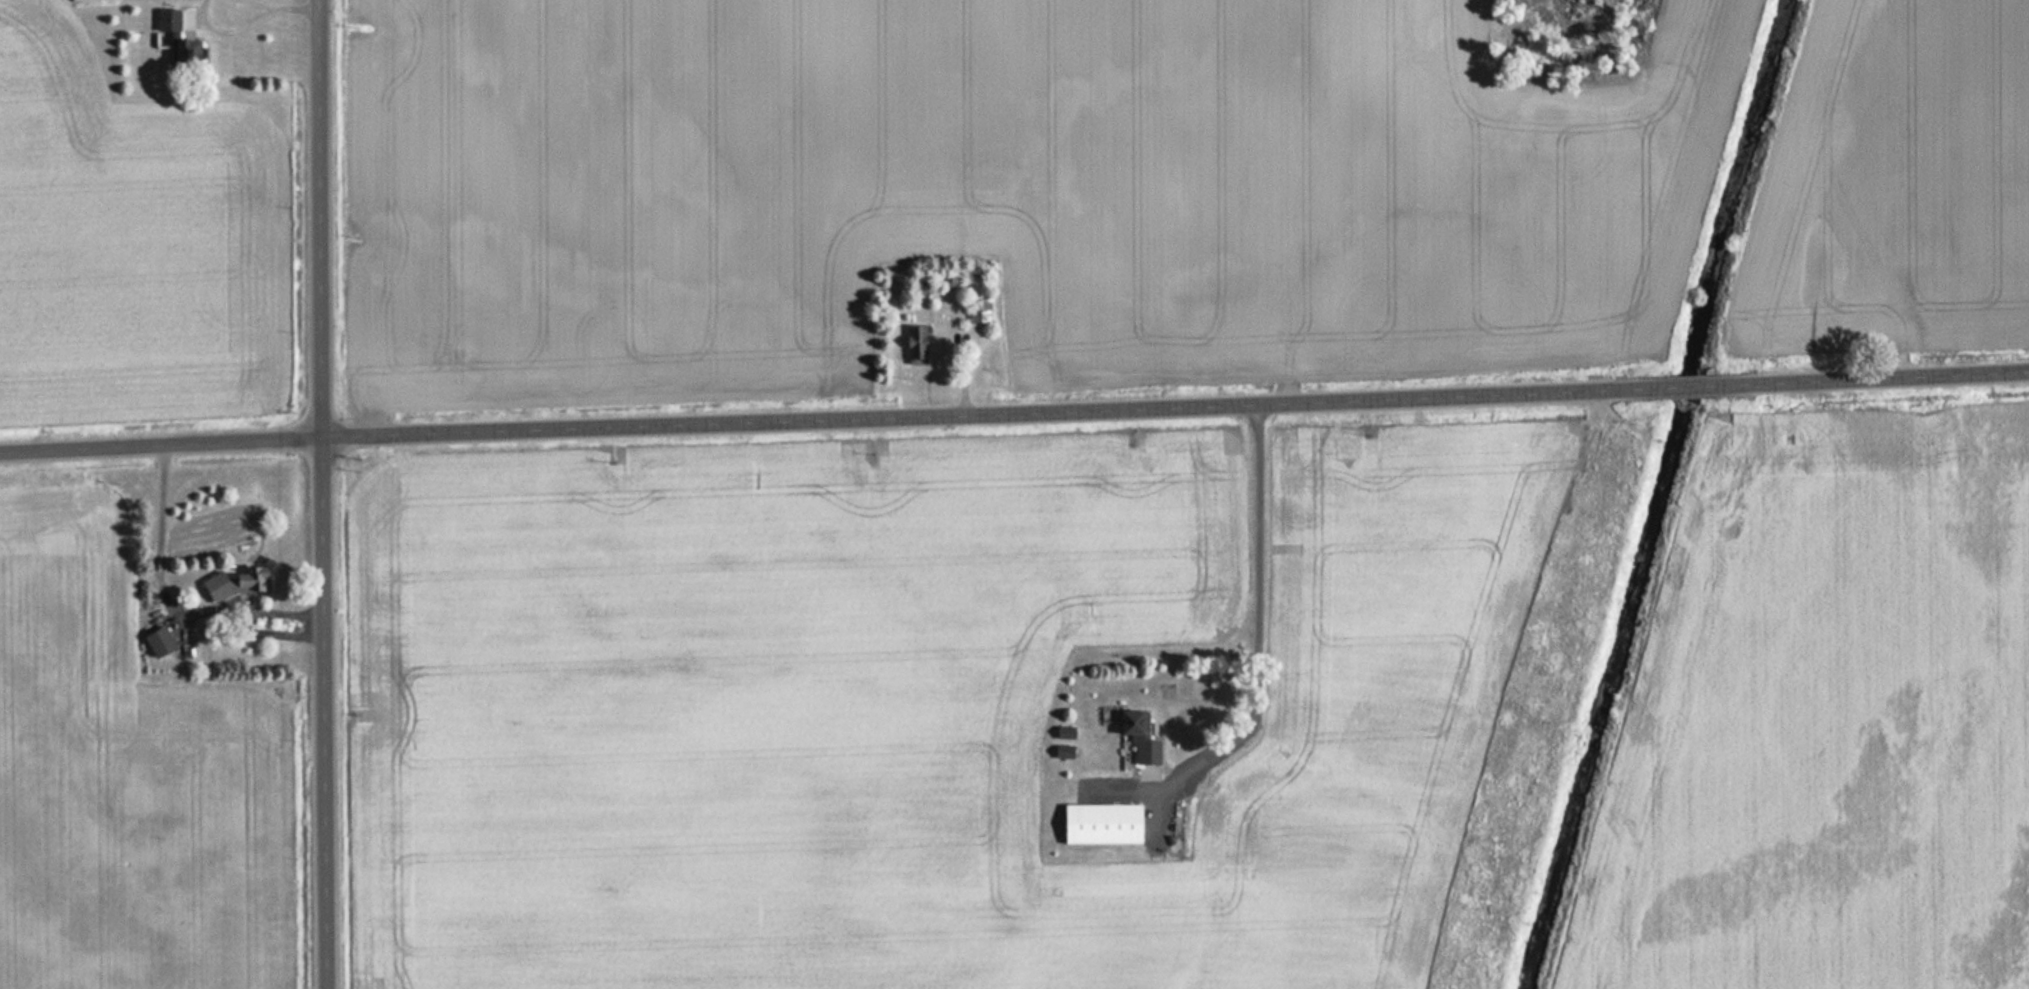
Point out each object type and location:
building: (91, 0)
building: (177, 37)
building: (978, 311)
building: (916, 345)
road: (1868, 379)
road: (1690, 388)
road: (835, 420)
road: (326, 494)
river: (1663, 495)
building: (239, 583)
building: (158, 642)
building: (1139, 737)
building: (1101, 823)

